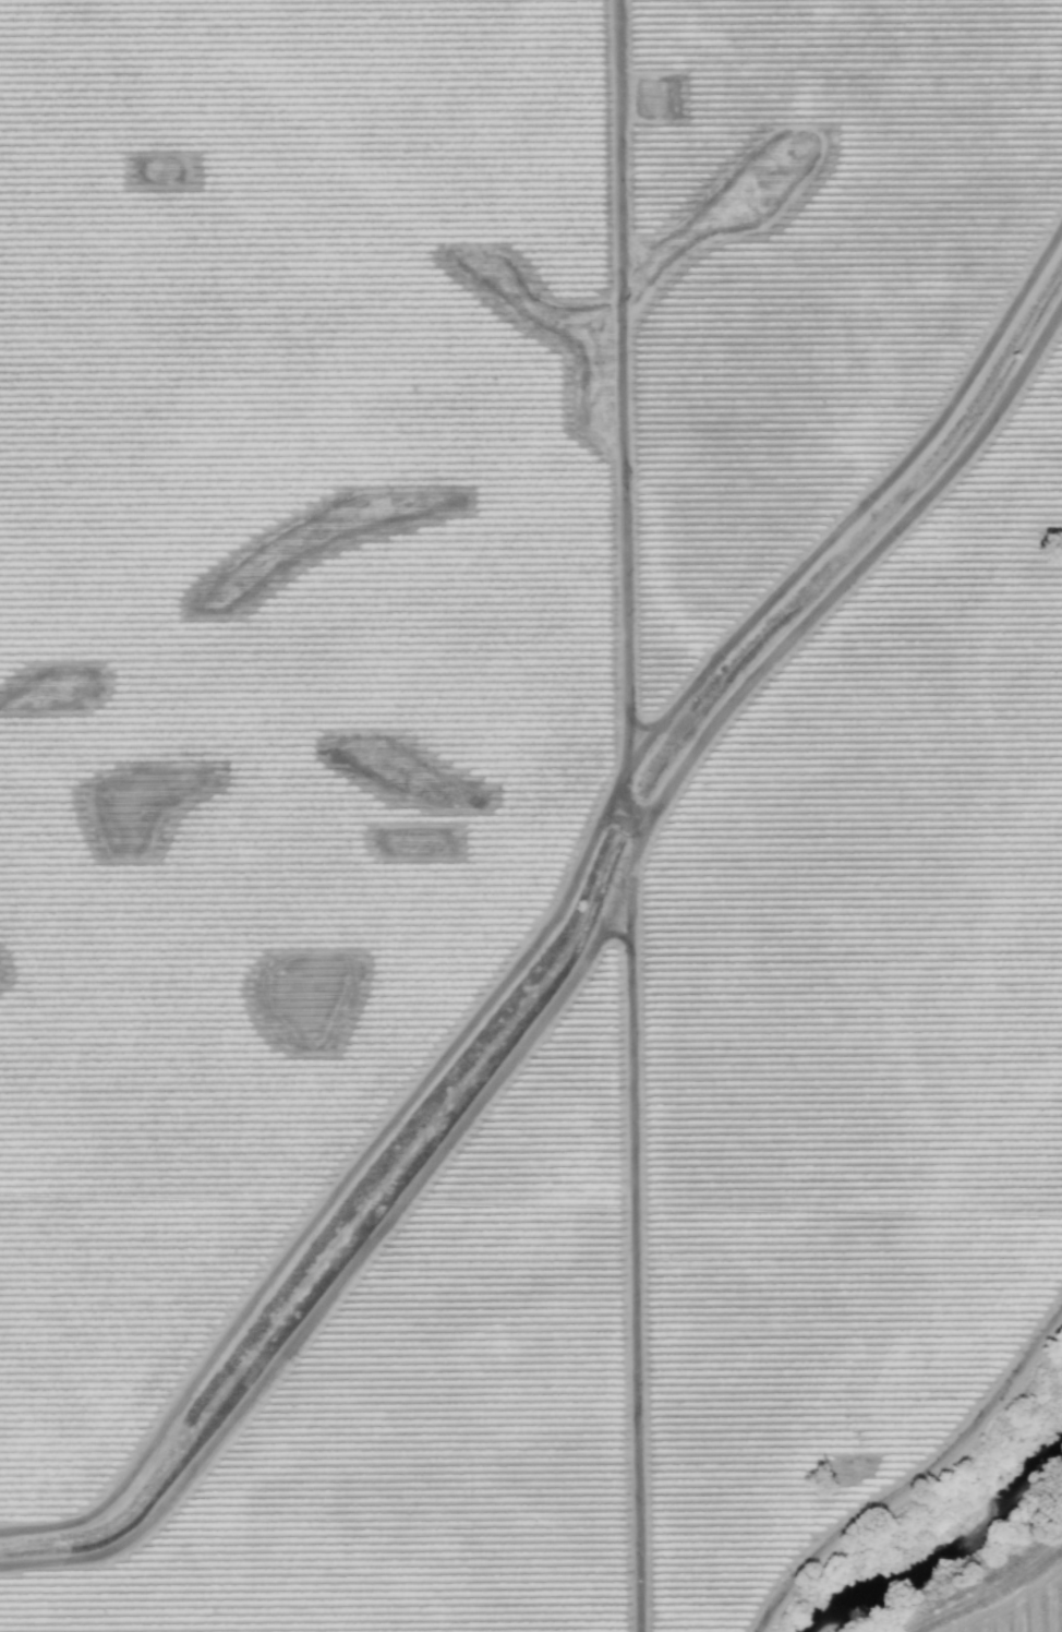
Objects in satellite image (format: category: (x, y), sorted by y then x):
crop: (725, 1261)

